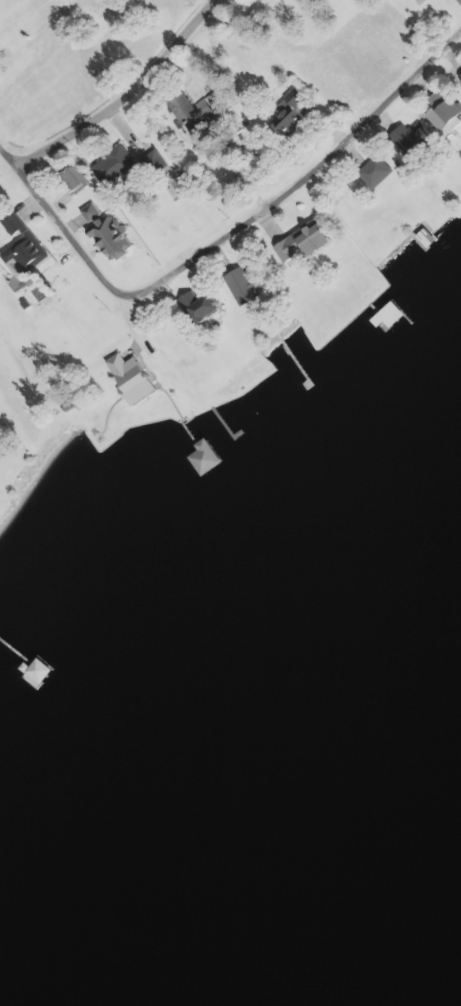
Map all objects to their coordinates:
building: (421, 2)
road: (84, 66)
building: (183, 110)
building: (443, 112)
building: (292, 114)
building: (408, 142)
road: (274, 161)
building: (114, 167)
building: (376, 171)
building: (73, 182)
building: (90, 213)
road: (33, 223)
building: (112, 240)
building: (305, 242)
building: (22, 247)
building: (245, 286)
building: (201, 308)
building: (388, 317)
building: (133, 379)
building: (205, 458)
building: (40, 672)

